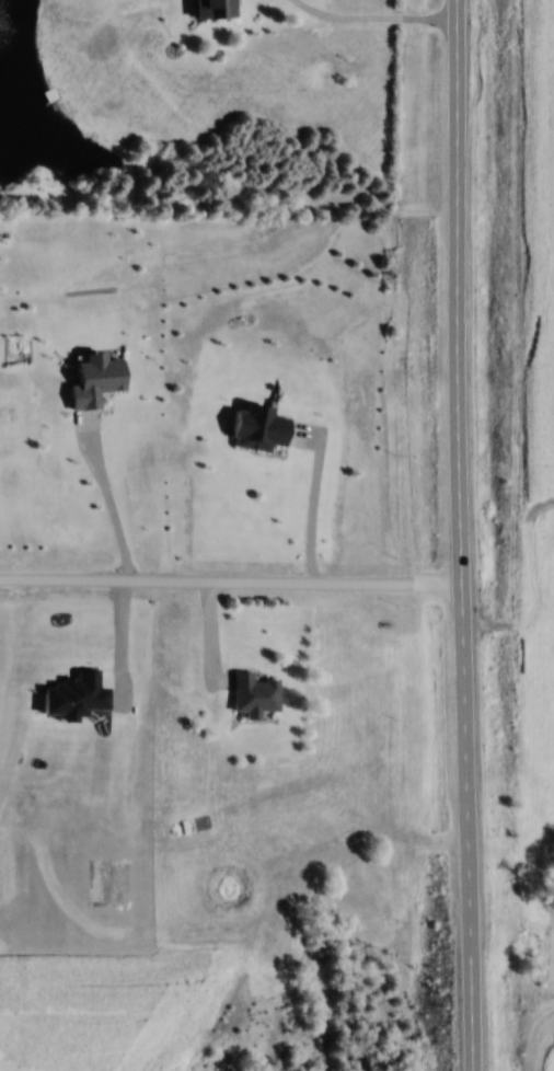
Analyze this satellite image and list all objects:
building: (217, 8)
road: (373, 24)
building: (97, 378)
building: (262, 427)
road: (102, 504)
road: (305, 504)
road: (461, 535)
road: (231, 586)
building: (257, 694)

